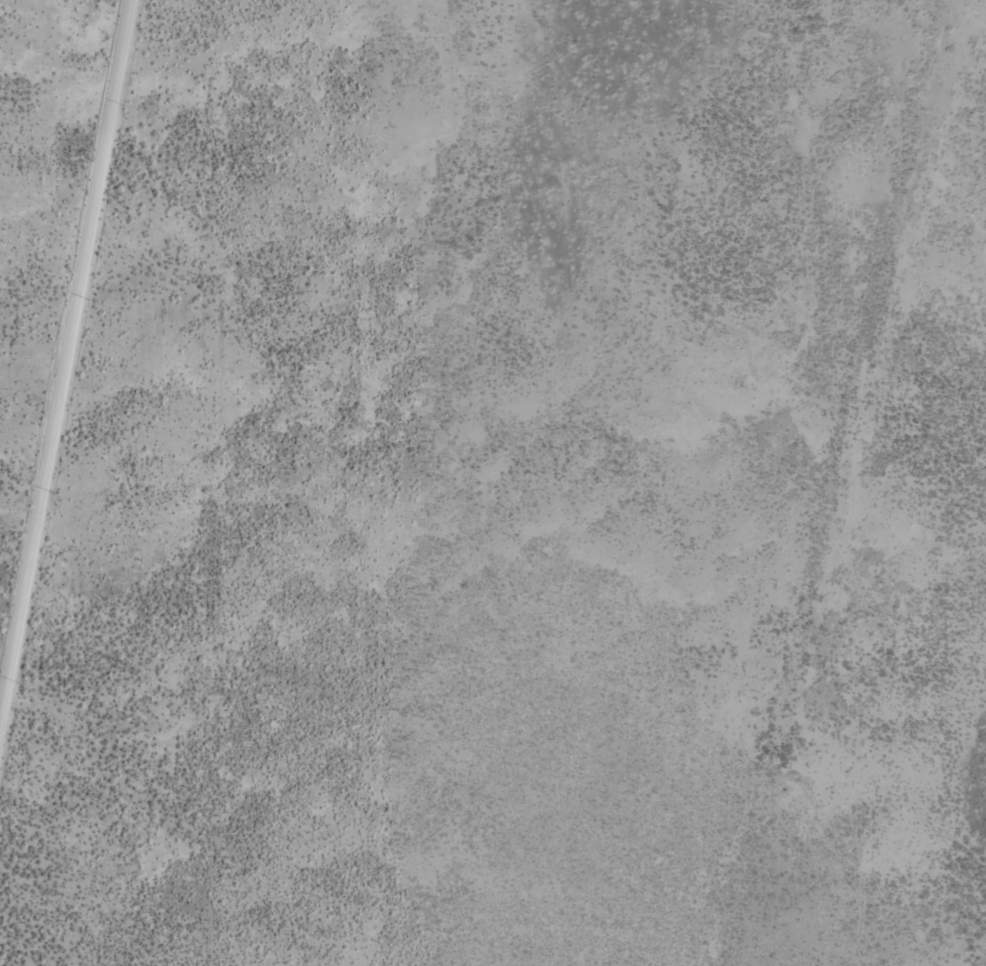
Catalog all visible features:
road: (834, 483)

